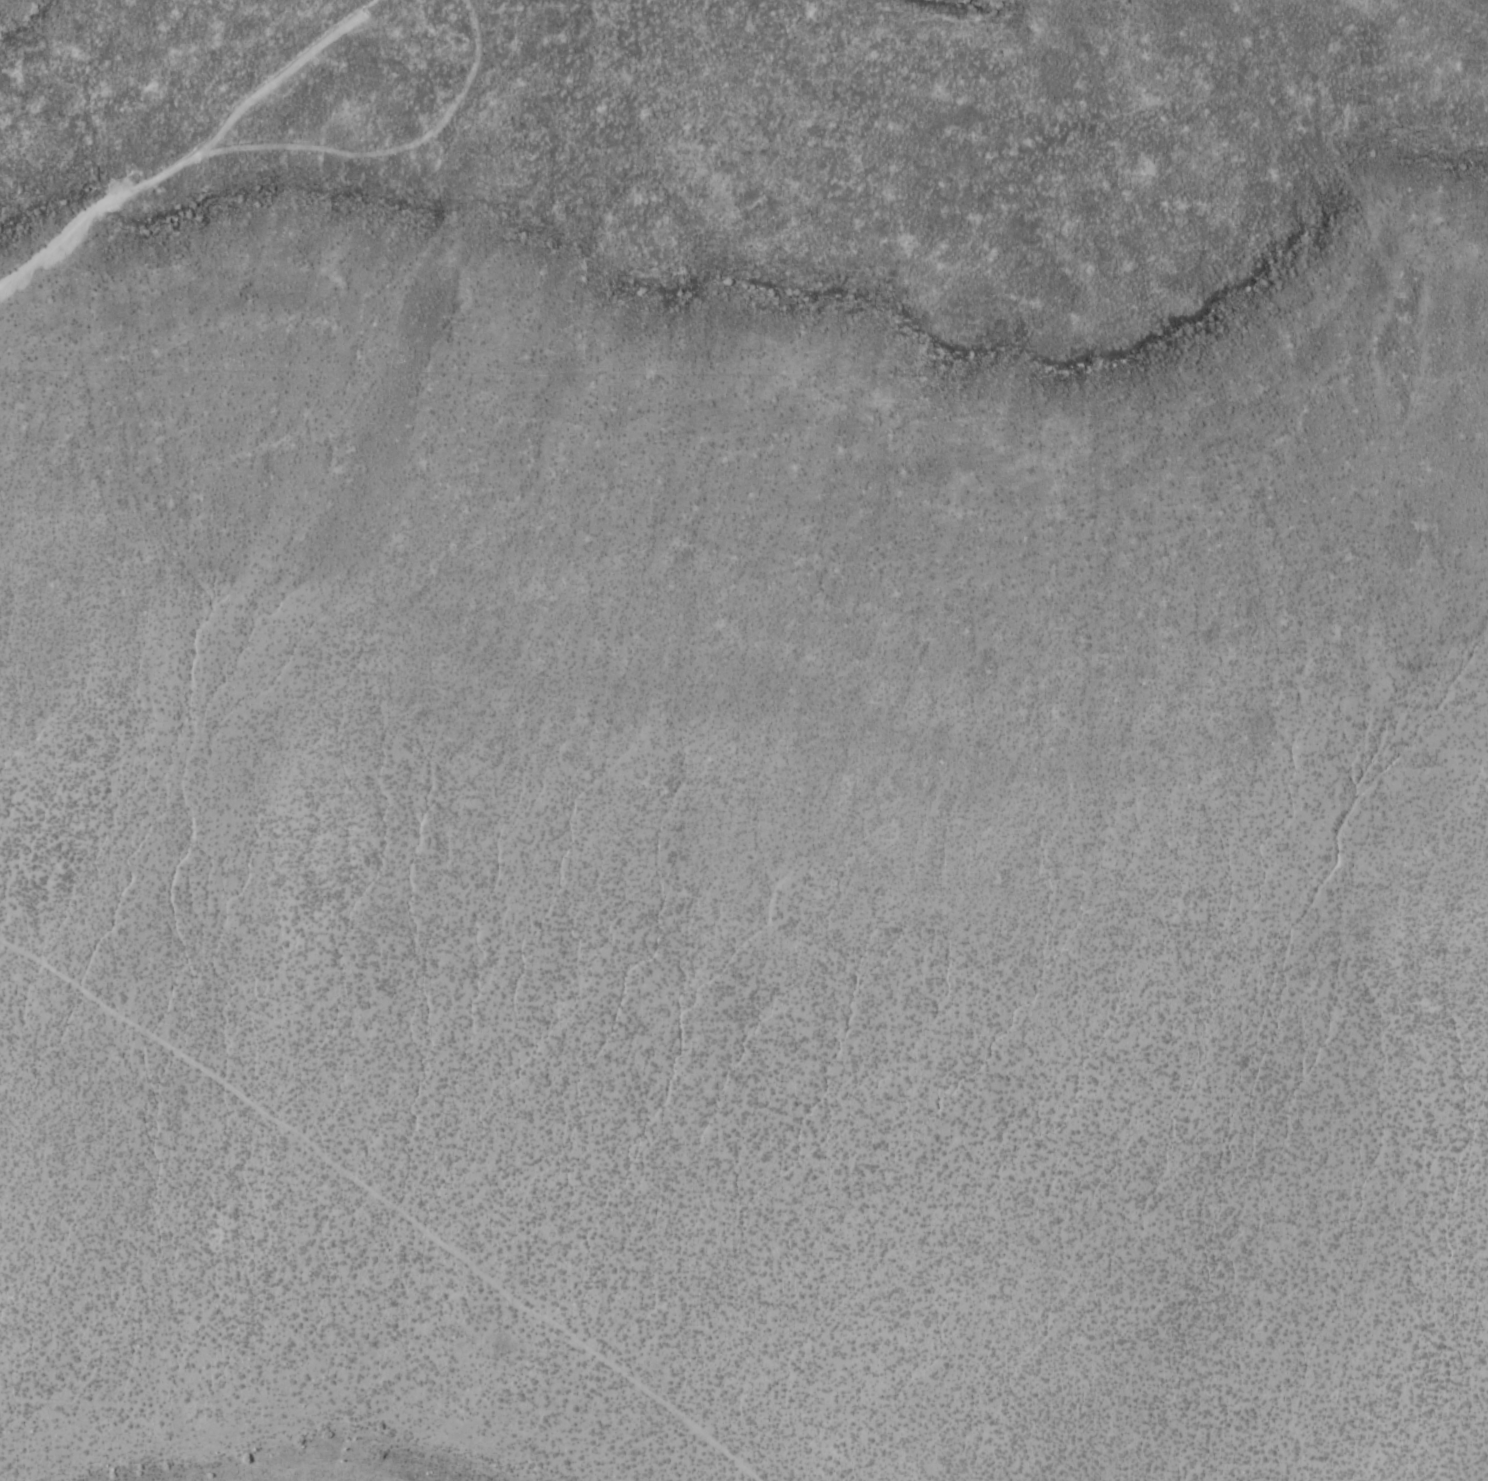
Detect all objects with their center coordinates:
road: (260, 137)

